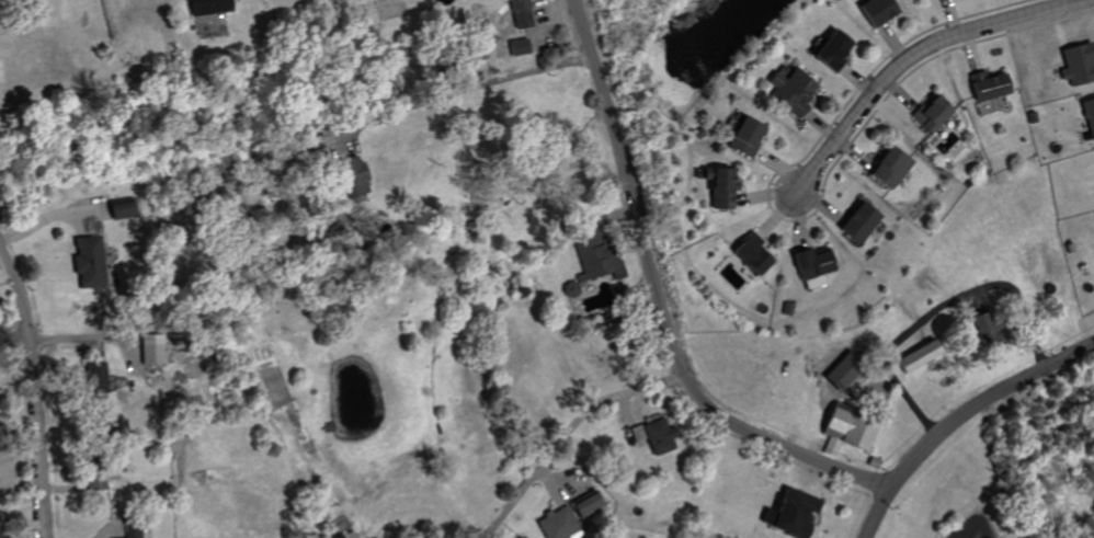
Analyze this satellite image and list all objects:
building: (515, 5)
building: (205, 7)
building: (873, 11)
building: (524, 19)
building: (516, 48)
building: (827, 51)
road: (905, 56)
building: (1075, 65)
road: (471, 85)
building: (985, 87)
building: (789, 91)
building: (930, 113)
building: (1087, 116)
building: (742, 137)
building: (884, 169)
building: (350, 175)
building: (720, 187)
road: (52, 217)
building: (855, 221)
building: (751, 254)
building: (84, 256)
building: (594, 256)
building: (812, 264)
road: (660, 301)
road: (937, 307)
building: (148, 348)
building: (914, 356)
building: (91, 376)
road: (32, 390)
road: (958, 417)
road: (567, 433)
building: (658, 434)
building: (90, 479)
building: (588, 504)
building: (788, 512)
building: (132, 530)
building: (8, 537)

